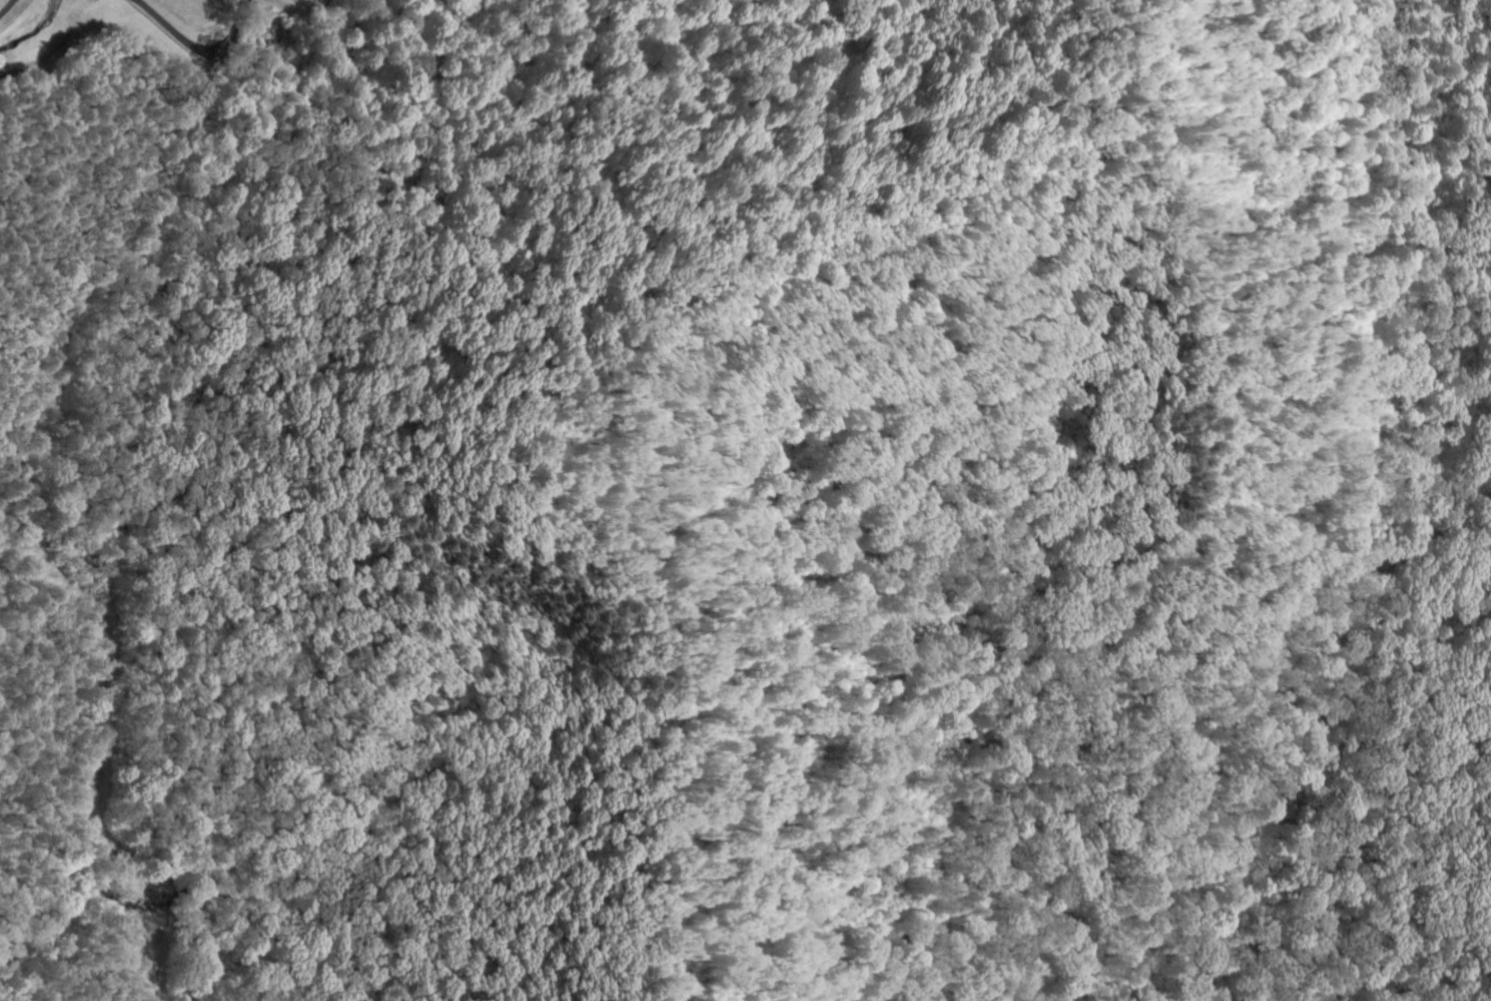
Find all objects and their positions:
road: (7, 7)
road: (236, 27)
road: (180, 32)

